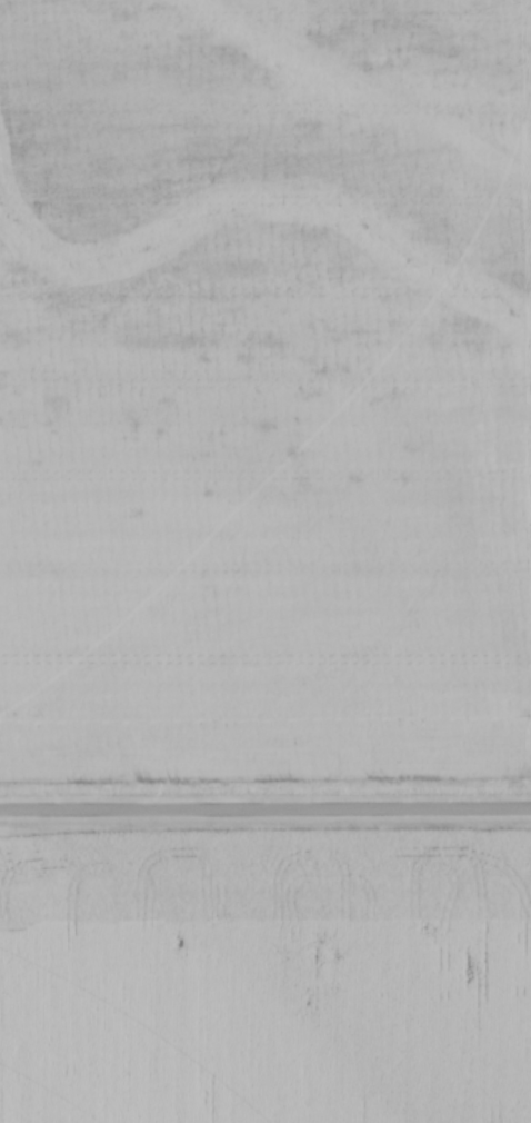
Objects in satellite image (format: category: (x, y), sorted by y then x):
road: (264, 814)

